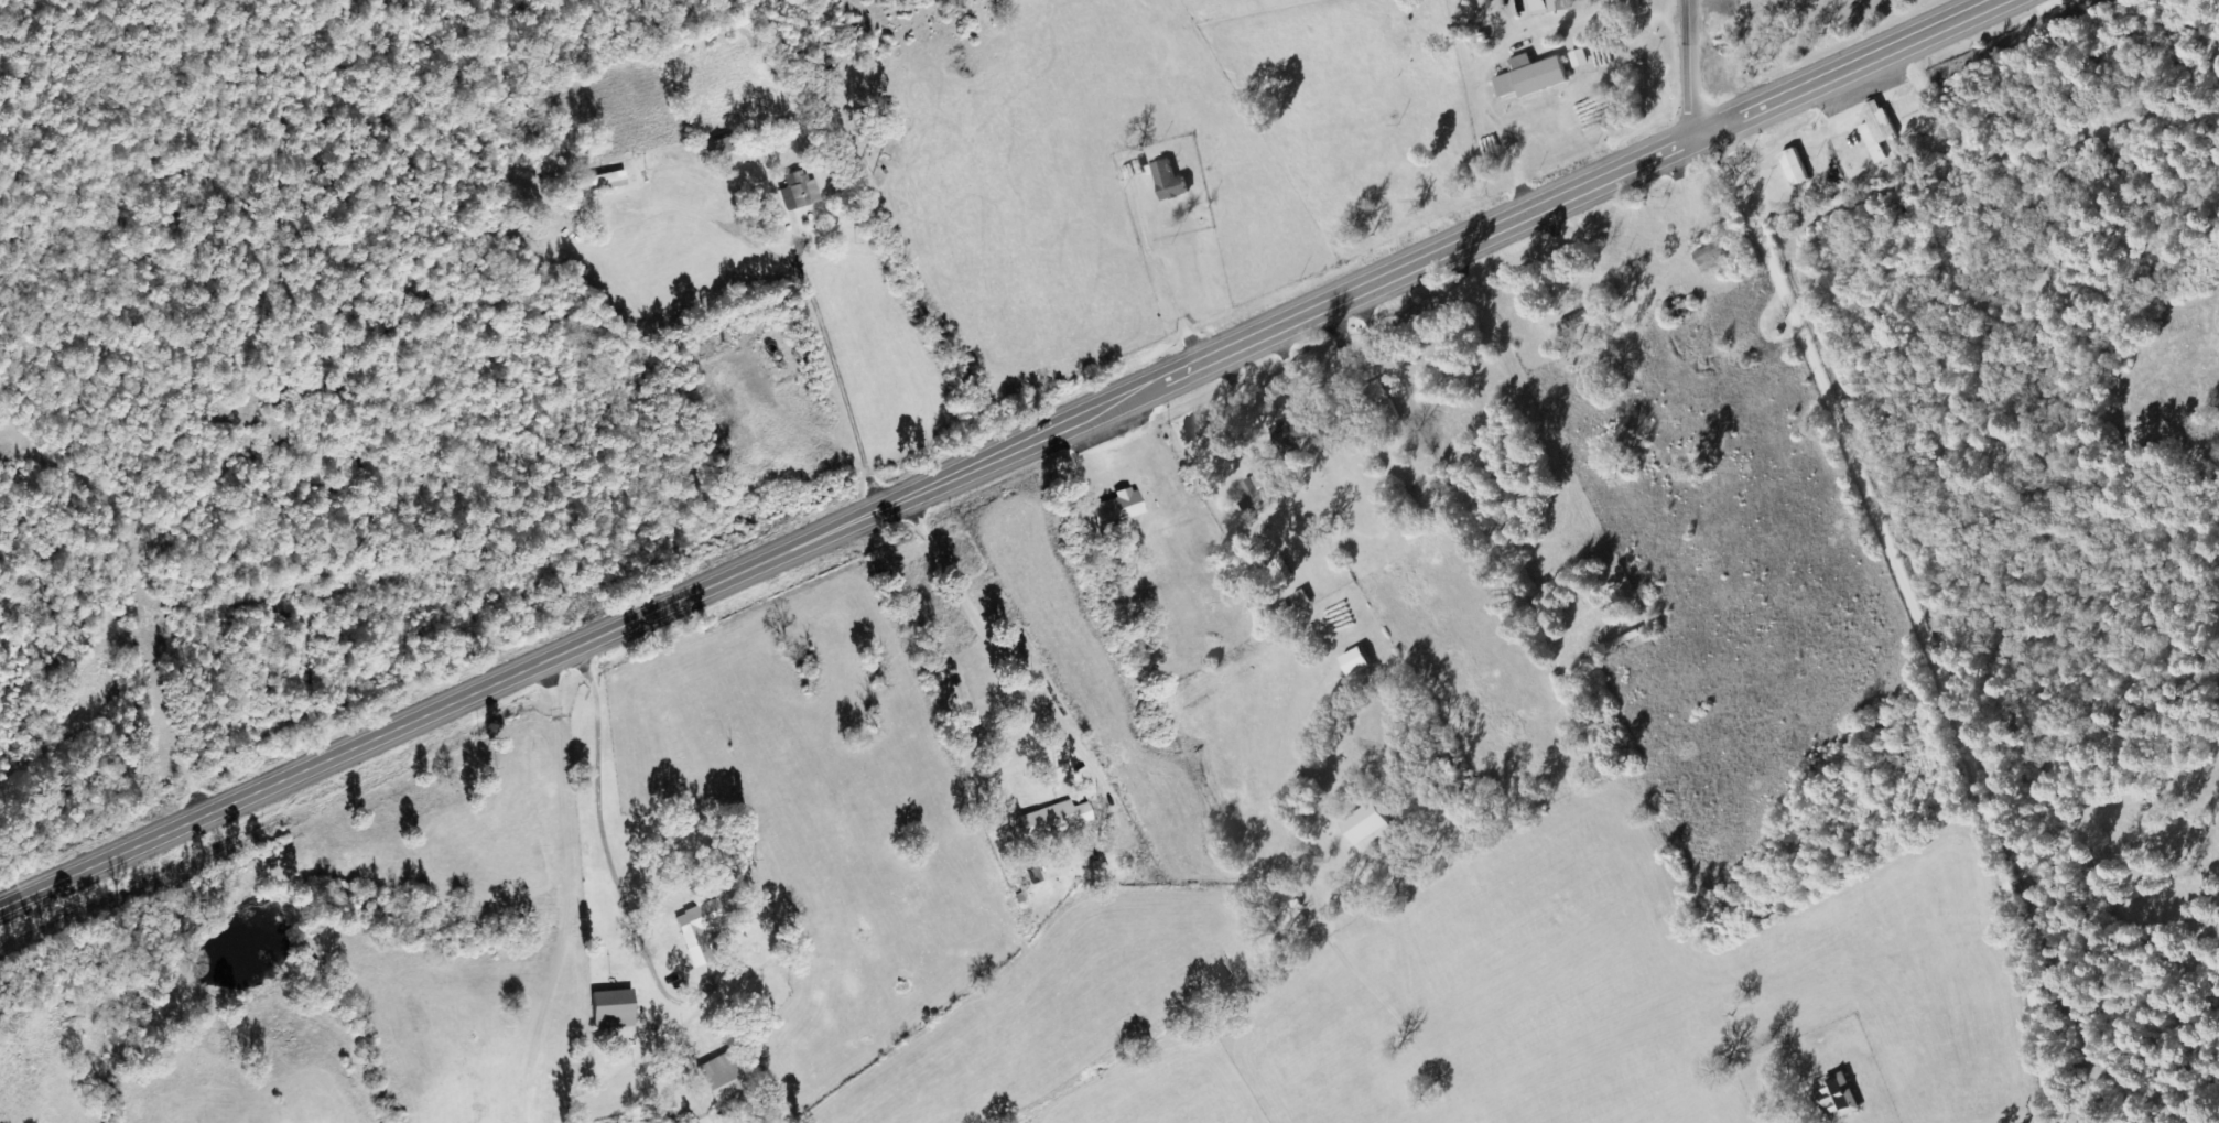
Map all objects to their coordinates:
building: (1552, 6)
road: (1861, 65)
road: (1692, 68)
building: (1534, 76)
building: (1880, 130)
building: (1797, 168)
building: (1162, 179)
building: (604, 181)
building: (799, 192)
road: (1440, 256)
building: (1712, 257)
building: (1592, 313)
road: (755, 334)
building: (1296, 430)
building: (1259, 490)
building: (1119, 510)
building: (1577, 609)
road: (1908, 624)
road: (581, 643)
building: (1360, 661)
building: (1056, 819)
building: (1365, 829)
building: (702, 929)
building: (616, 1008)
building: (726, 1081)
building: (1836, 1097)

